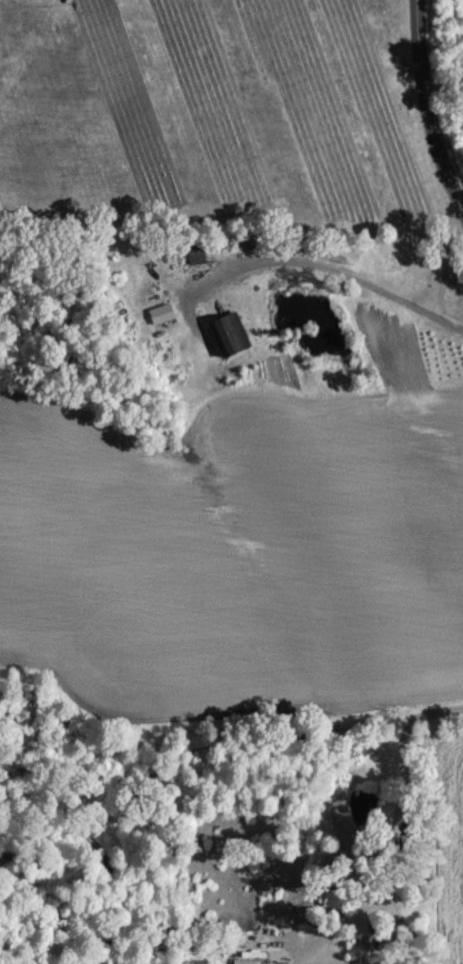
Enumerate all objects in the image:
road: (427, 108)
building: (195, 253)
road: (326, 267)
building: (227, 333)
road: (390, 831)
building: (248, 928)

